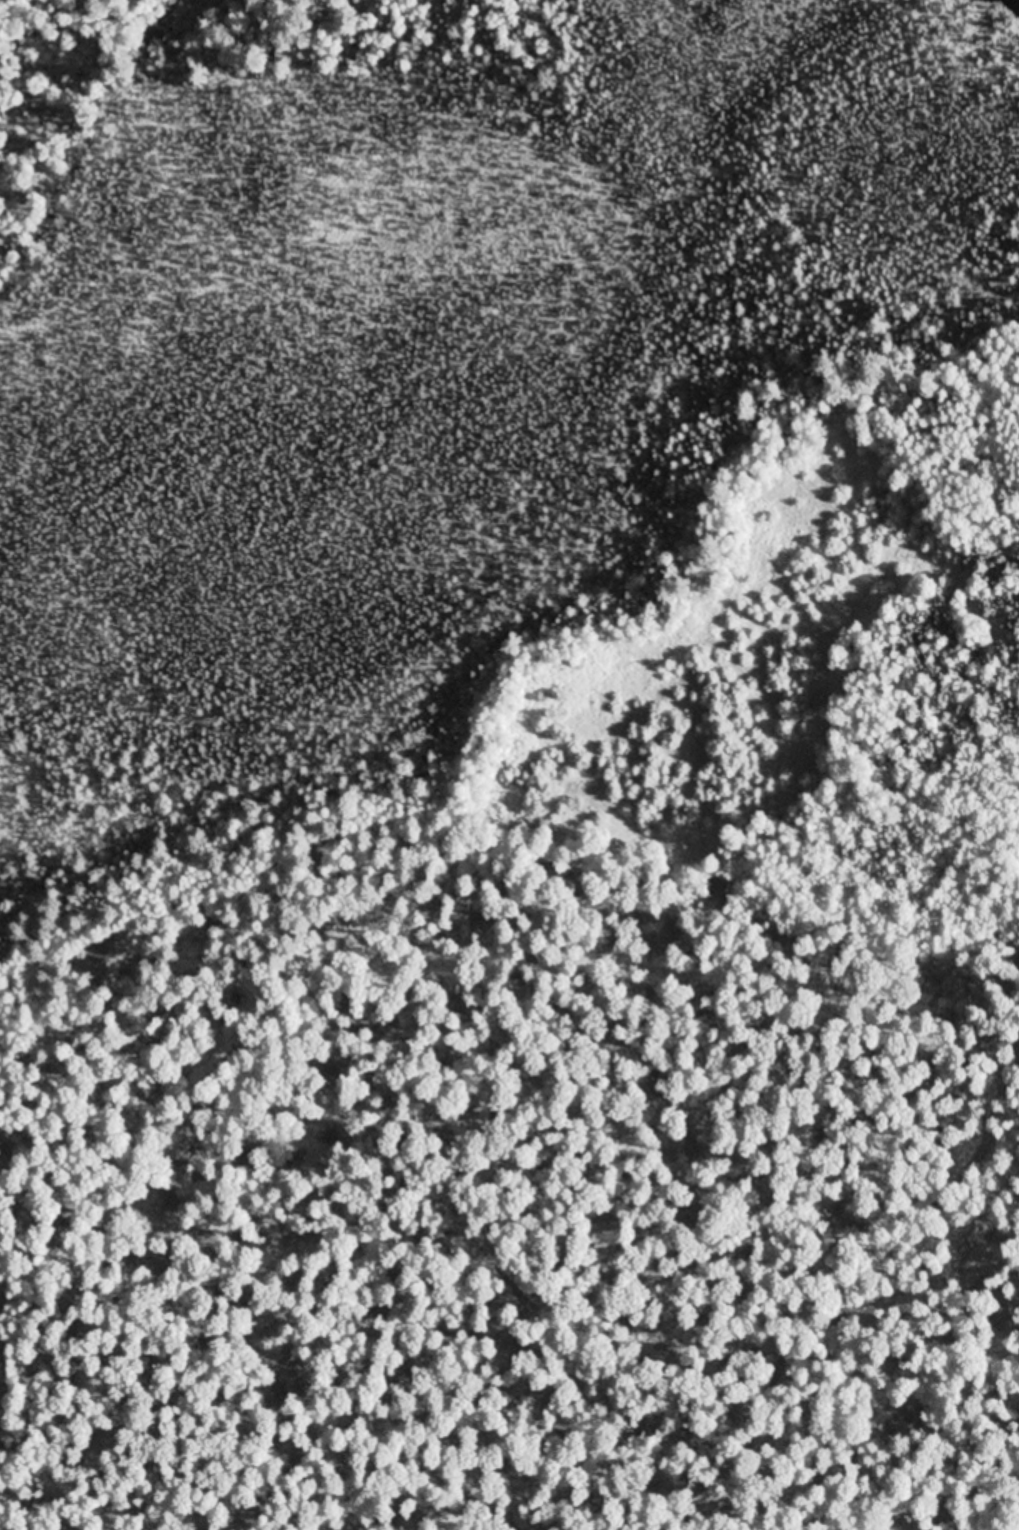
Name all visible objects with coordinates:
road: (940, 1348)

